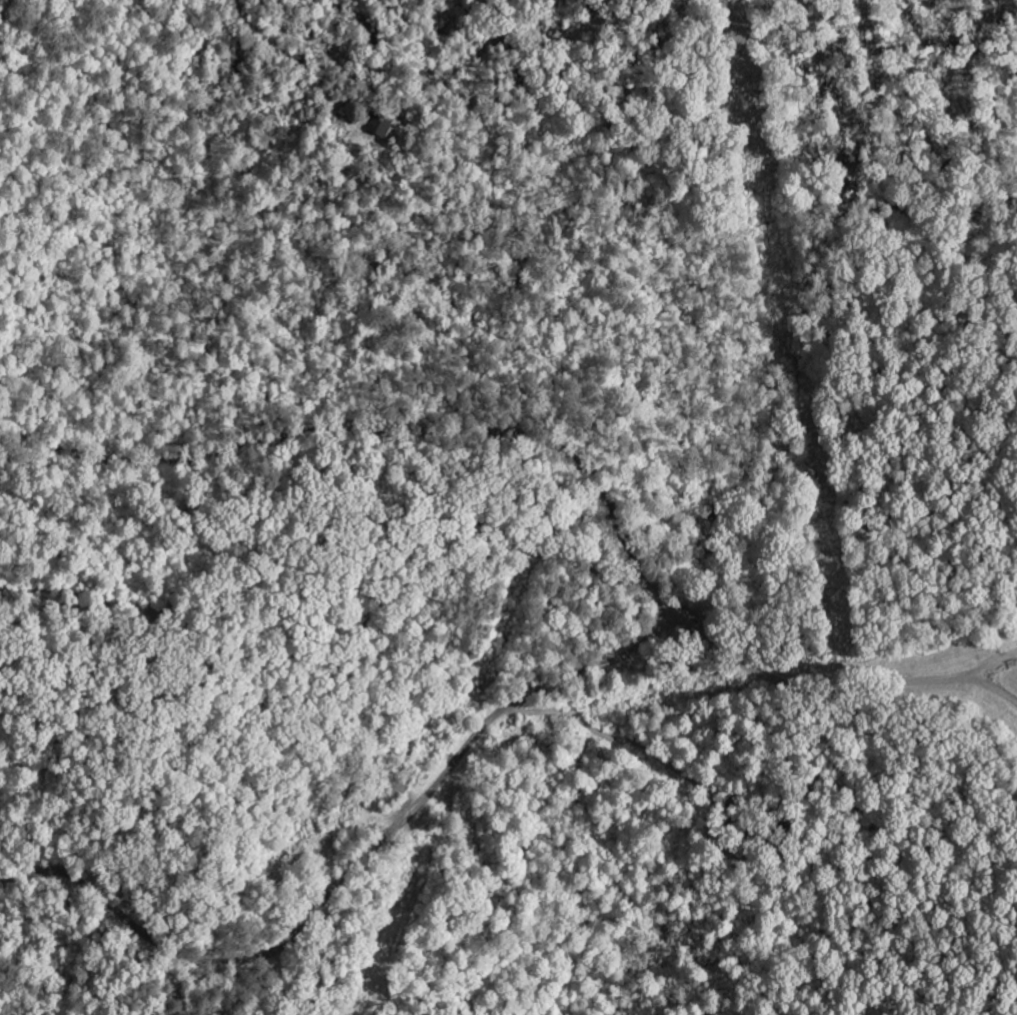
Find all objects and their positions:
road: (5, 10)
road: (378, 429)
road: (223, 662)
road: (830, 679)
road: (1014, 688)
road: (346, 875)

